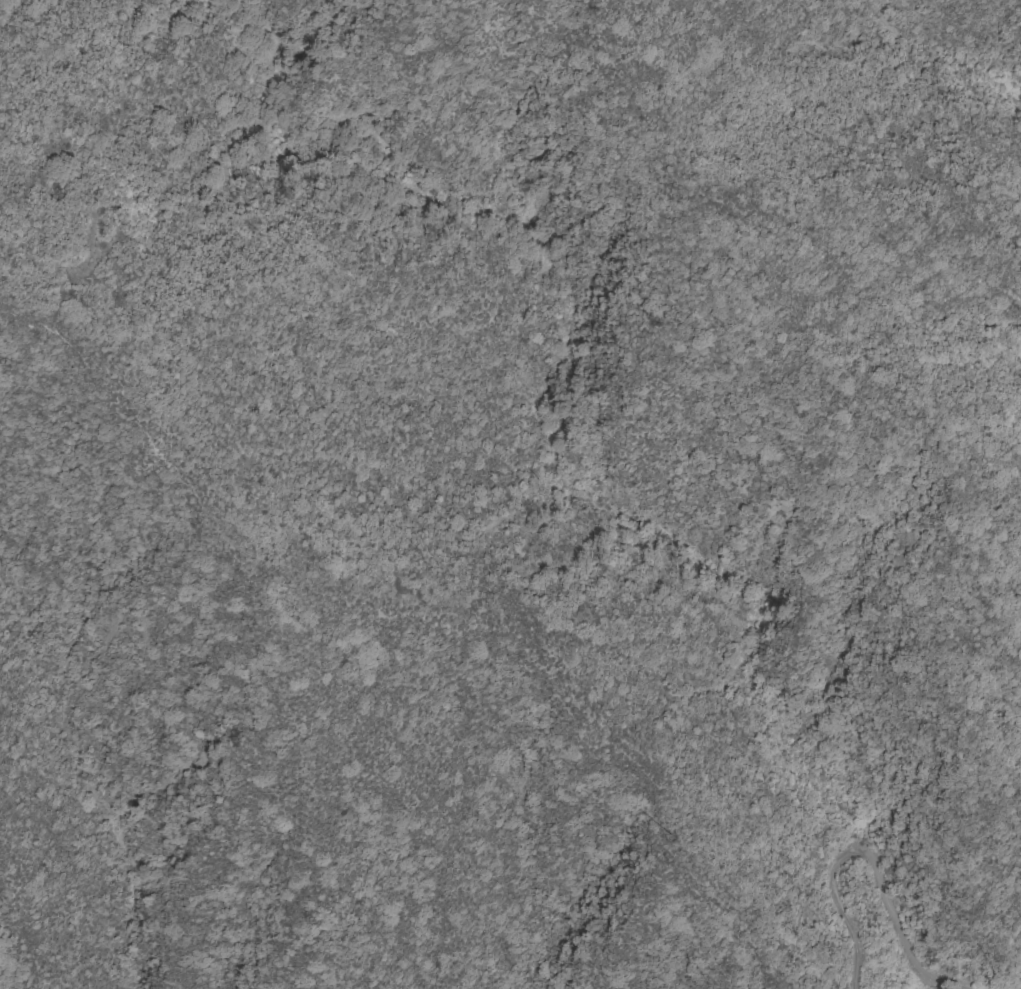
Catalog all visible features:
road: (865, 857)

